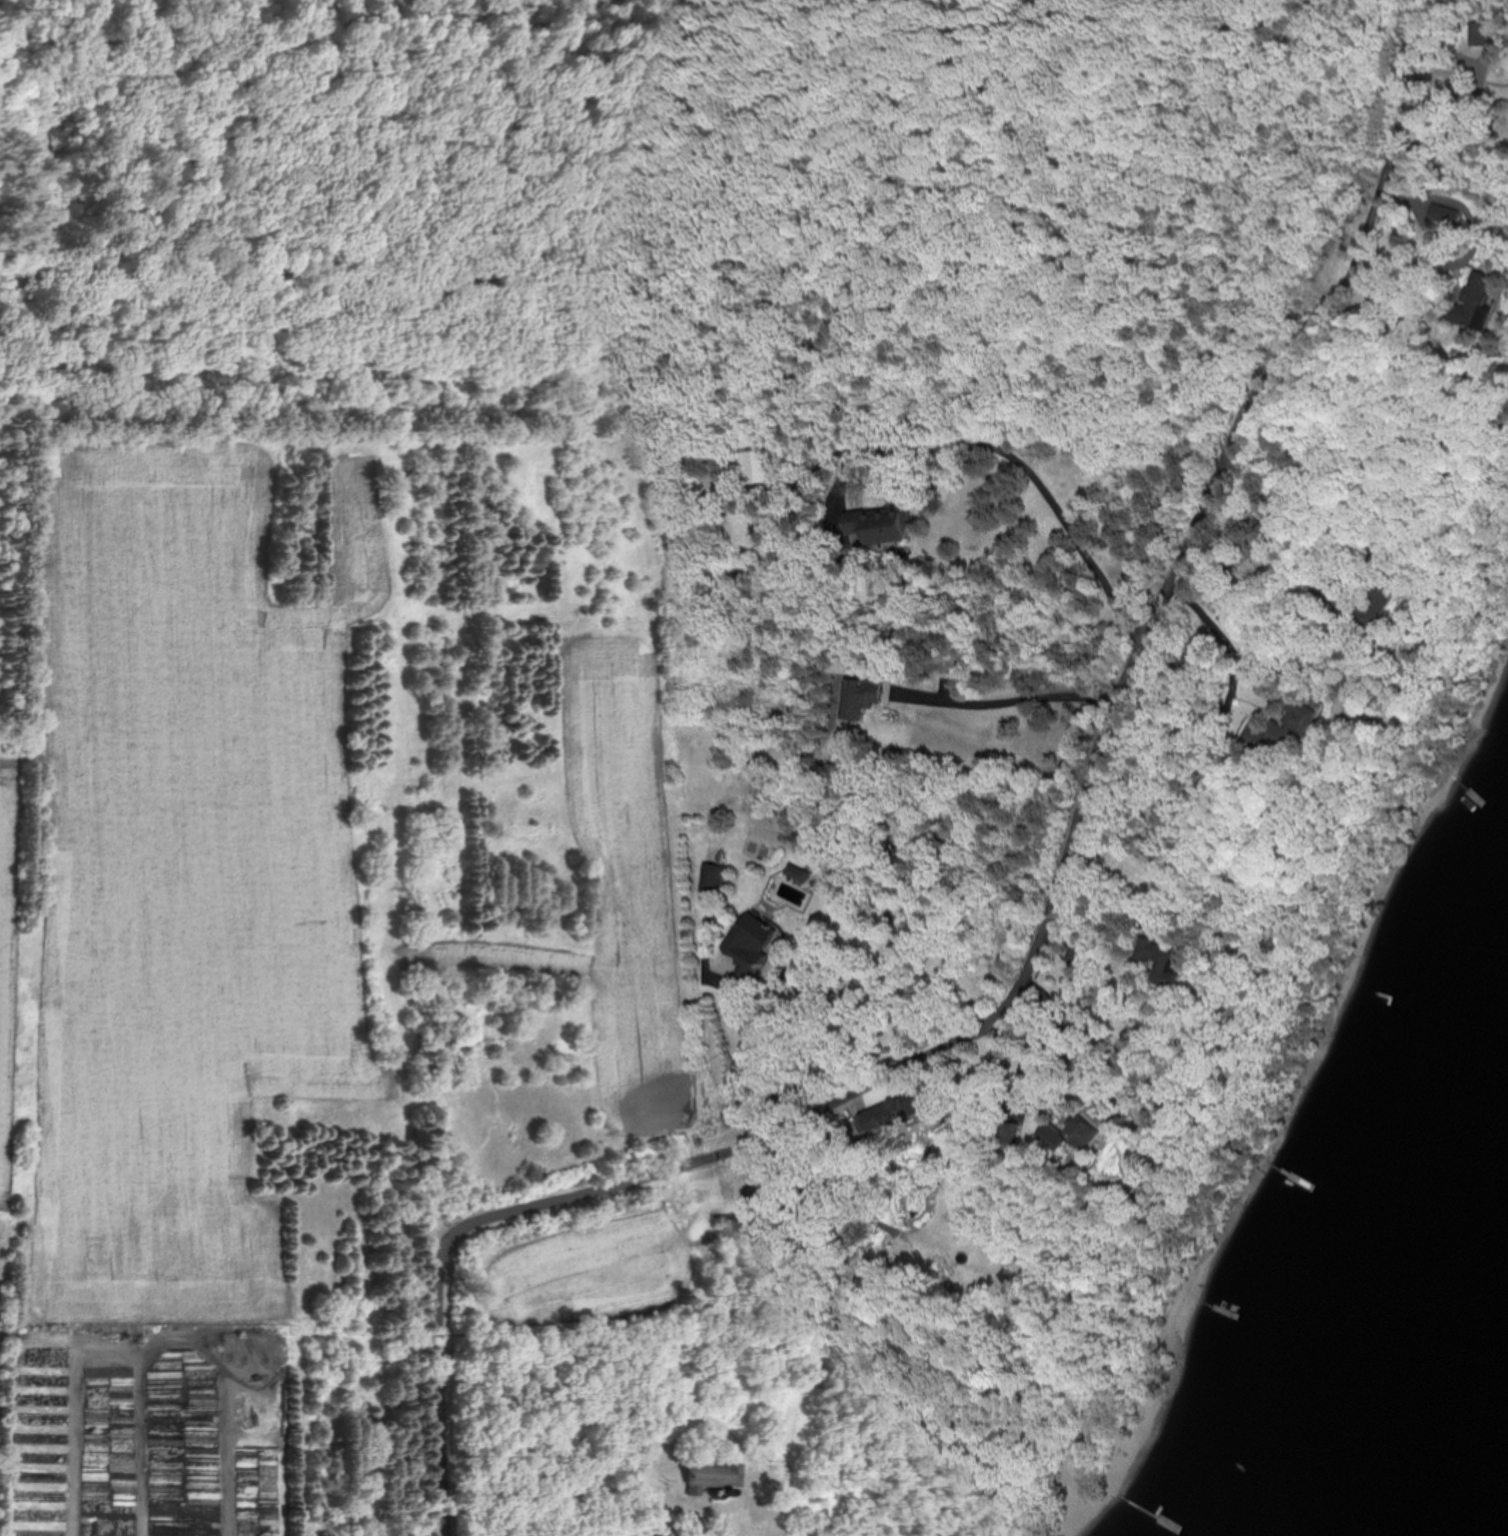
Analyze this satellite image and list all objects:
park: (670, 216)
road: (1476, 237)
building: (1472, 300)
road: (1010, 455)
building: (758, 466)
building: (876, 527)
building: (1363, 608)
road: (1219, 641)
building: (858, 698)
road: (1012, 703)
building: (711, 878)
road: (1044, 940)
building: (753, 948)
building: (1161, 962)
road: (792, 1039)
road: (1029, 1049)
road: (751, 1063)
building: (892, 1114)
building: (1084, 1132)
building: (1018, 1134)
building: (715, 1476)
building: (259, 1527)
road: (678, 1529)

